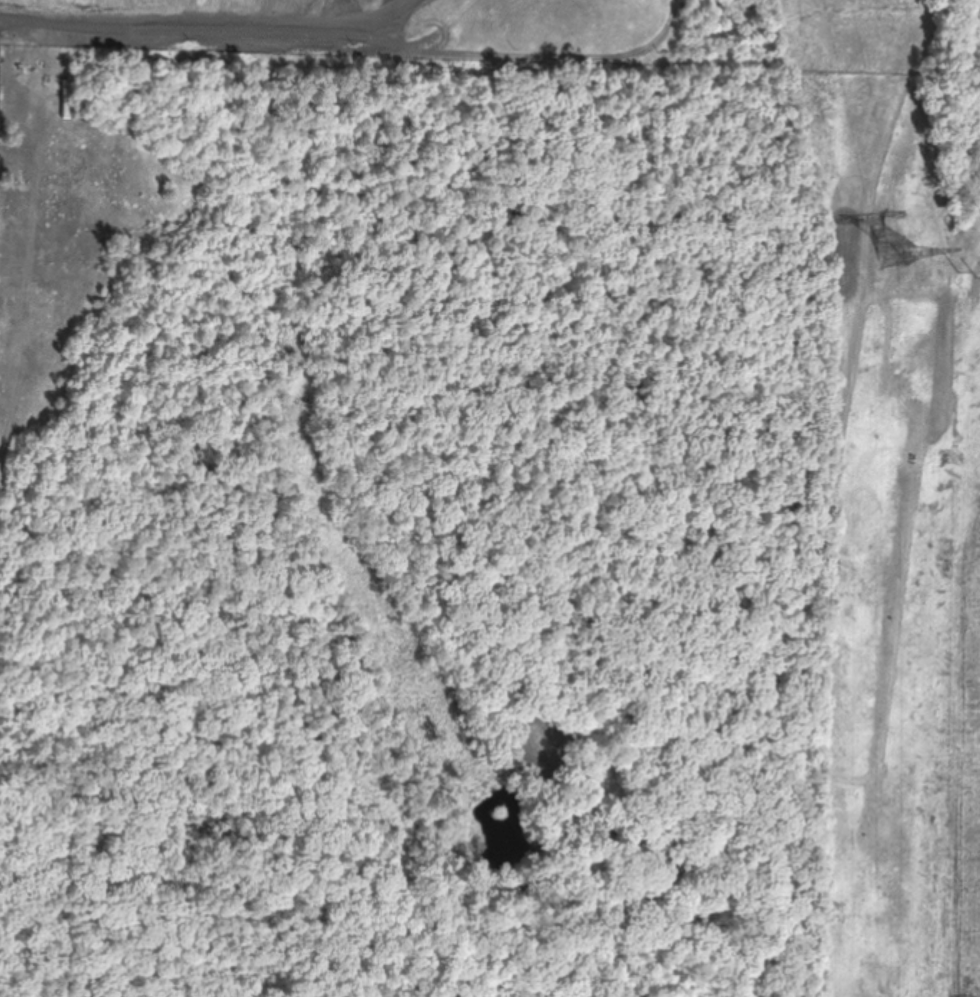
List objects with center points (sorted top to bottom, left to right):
building: (66, 100)
power tower: (894, 265)
power tower: (979, 281)
road: (799, 591)

